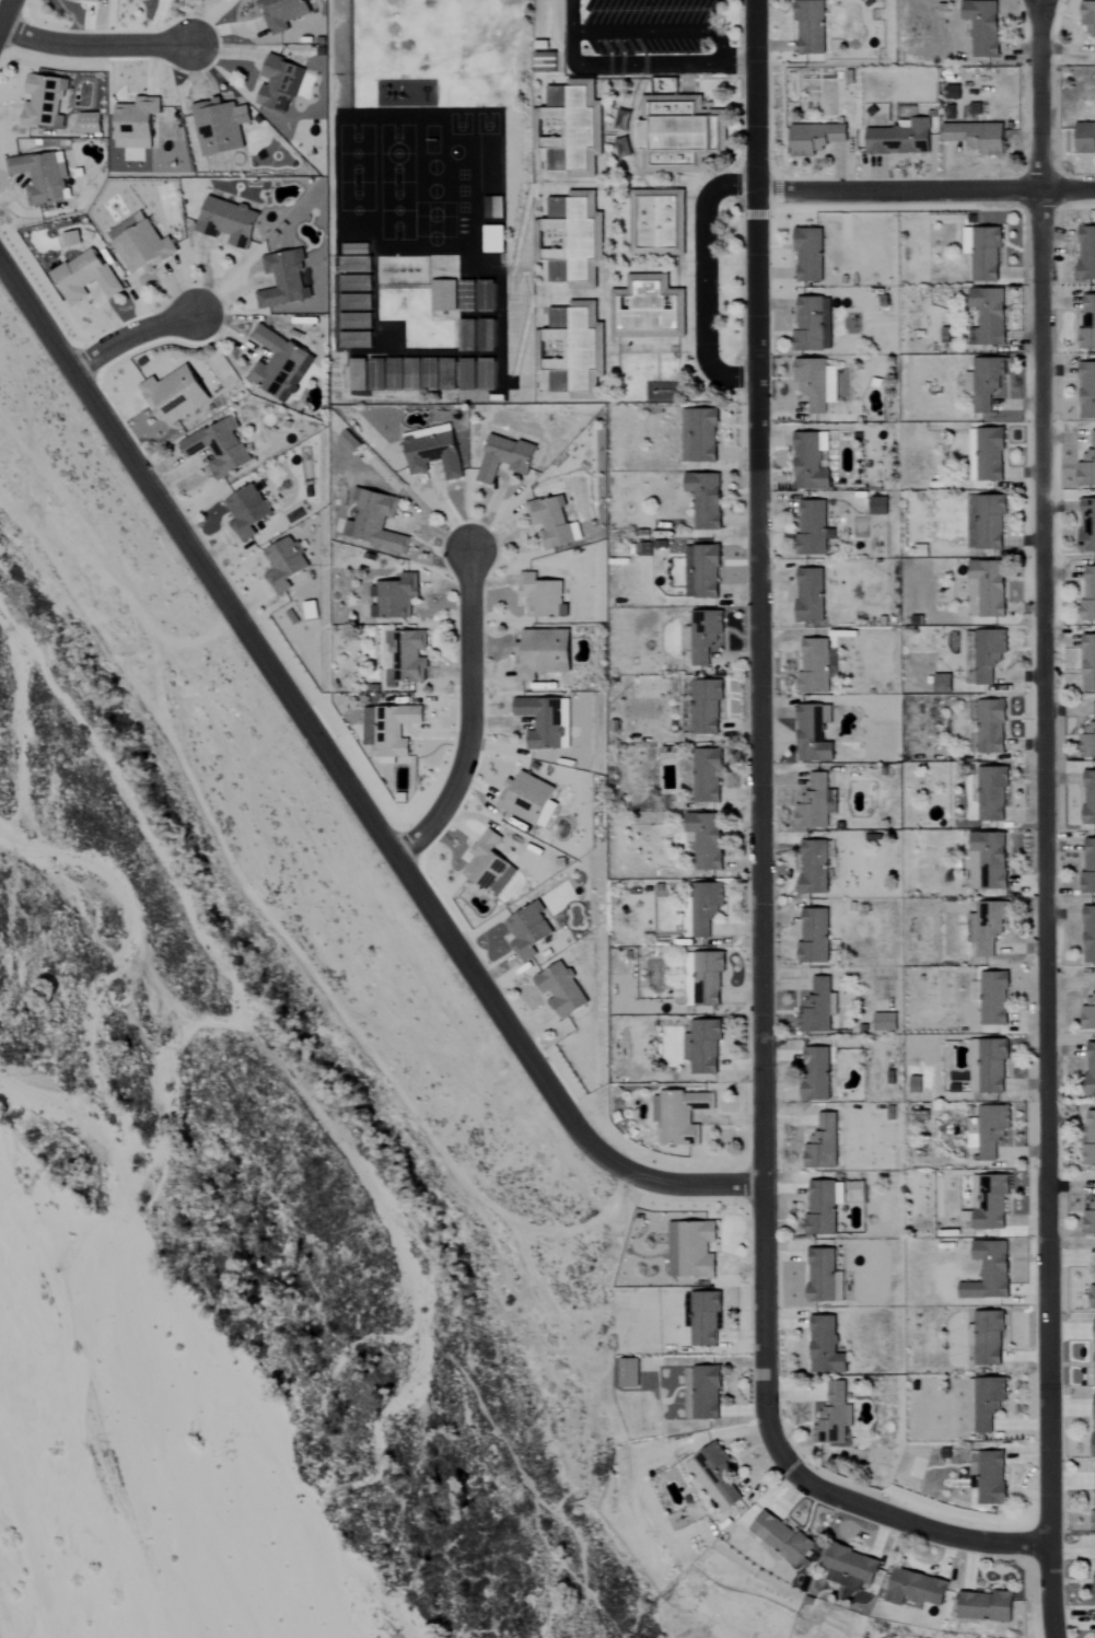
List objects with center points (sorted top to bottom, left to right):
building: (90, 1)
building: (283, 13)
road: (5, 15)
building: (1088, 19)
building: (811, 27)
building: (985, 27)
road: (657, 31)
road: (94, 44)
building: (548, 62)
road: (631, 65)
building: (280, 84)
building: (954, 93)
building: (44, 102)
building: (90, 124)
building: (221, 126)
building: (571, 128)
building: (678, 133)
building: (978, 137)
building: (816, 138)
building: (901, 138)
building: (1086, 138)
building: (43, 177)
road: (924, 190)
building: (494, 208)
building: (229, 222)
building: (656, 226)
building: (72, 239)
building: (571, 240)
building: (142, 244)
building: (356, 248)
building: (985, 253)
building: (1087, 253)
building: (809, 255)
building: (357, 264)
building: (86, 277)
road: (703, 279)
building: (284, 280)
building: (357, 283)
building: (445, 295)
building: (468, 297)
building: (487, 297)
building: (357, 302)
building: (649, 309)
building: (990, 315)
building: (357, 322)
building: (814, 325)
building: (1088, 325)
road: (129, 336)
building: (468, 336)
building: (487, 336)
building: (358, 340)
building: (573, 348)
building: (280, 365)
building: (413, 374)
building: (359, 375)
building: (468, 375)
building: (488, 375)
building: (816, 383)
building: (986, 383)
building: (1087, 392)
building: (176, 395)
building: (700, 435)
building: (350, 442)
building: (220, 448)
building: (434, 454)
building: (991, 455)
building: (505, 457)
building: (812, 461)
building: (1087, 467)
building: (707, 499)
building: (878, 507)
building: (247, 512)
building: (551, 522)
building: (990, 522)
building: (377, 523)
building: (1087, 526)
building: (814, 530)
building: (284, 565)
building: (703, 572)
building: (990, 588)
building: (811, 595)
building: (395, 597)
building: (543, 597)
building: (1088, 597)
building: (308, 611)
building: (703, 636)
building: (544, 653)
building: (990, 654)
building: (1088, 663)
building: (817, 667)
building: (943, 684)
building: (708, 707)
road: (468, 719)
building: (540, 723)
building: (991, 727)
building: (389, 730)
building: (814, 734)
building: (1088, 740)
building: (709, 775)
road: (345, 781)
building: (993, 793)
building: (1090, 798)
building: (527, 799)
building: (817, 804)
road: (1042, 818)
building: (708, 840)
building: (989, 863)
building: (489, 866)
building: (816, 867)
building: (1090, 867)
road: (759, 875)
building: (707, 907)
building: (987, 926)
building: (529, 932)
building: (1090, 936)
building: (815, 937)
building: (709, 978)
building: (562, 990)
building: (994, 999)
building: (819, 1007)
building: (1090, 1014)
building: (885, 1021)
building: (688, 1047)
building: (707, 1047)
building: (991, 1065)
building: (1091, 1068)
building: (817, 1073)
building: (917, 1084)
building: (682, 1116)
building: (992, 1129)
building: (1090, 1137)
building: (823, 1143)
building: (991, 1203)
building: (824, 1207)
building: (1090, 1219)
building: (692, 1248)
building: (990, 1271)
building: (825, 1276)
building: (1093, 1297)
building: (704, 1317)
building: (989, 1337)
building: (826, 1346)
building: (629, 1373)
building: (703, 1392)
building: (985, 1403)
building: (831, 1416)
building: (1094, 1430)
building: (715, 1476)
building: (992, 1478)
building: (1094, 1479)
building: (783, 1538)
river: (39, 1548)
building: (851, 1568)
building: (1094, 1582)
building: (987, 1605)

